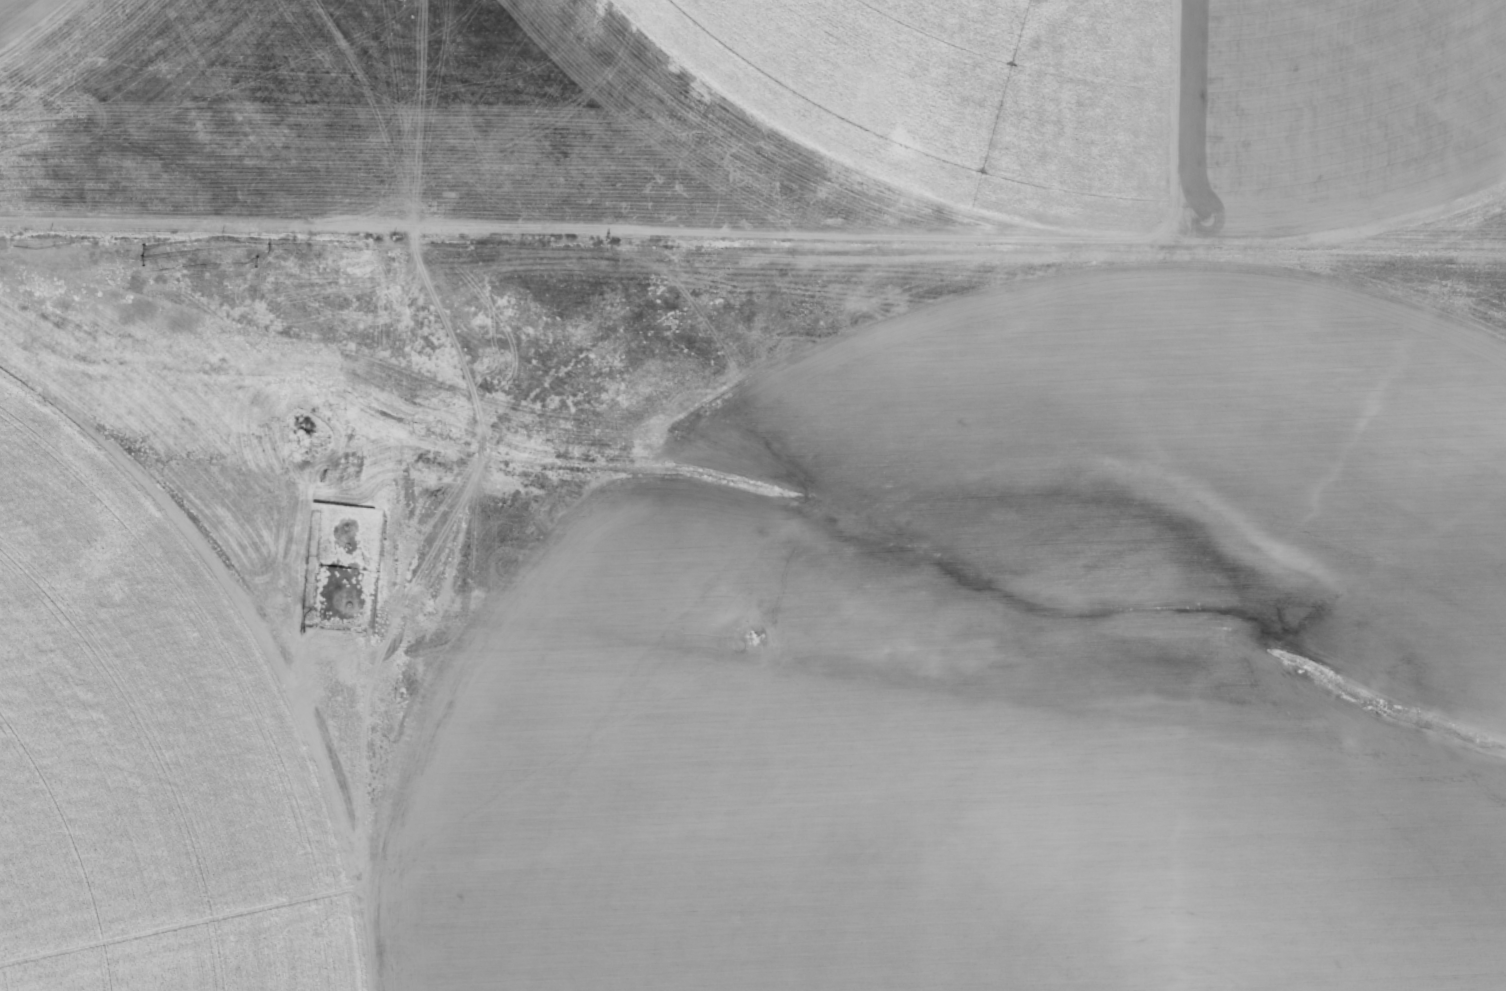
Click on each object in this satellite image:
crop: (753, 495)

